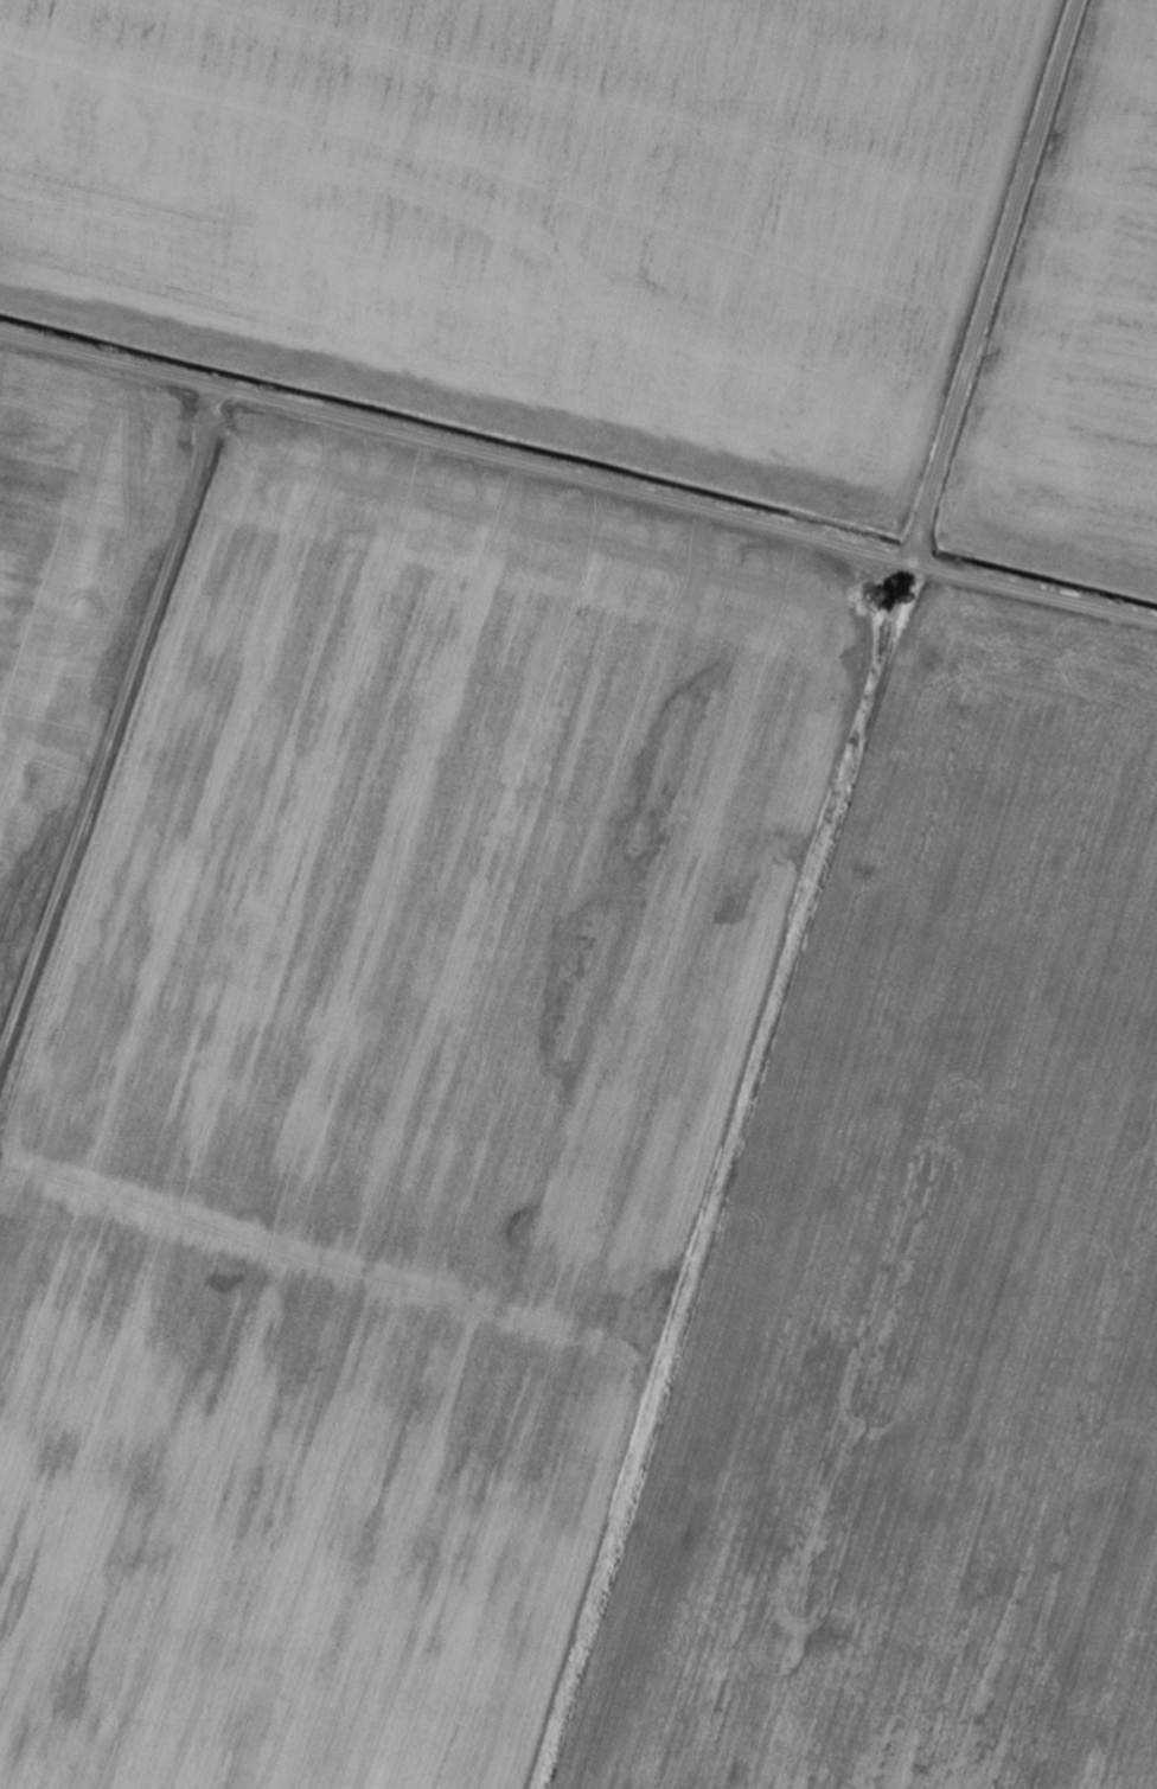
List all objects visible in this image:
road: (995, 281)
road: (578, 477)

